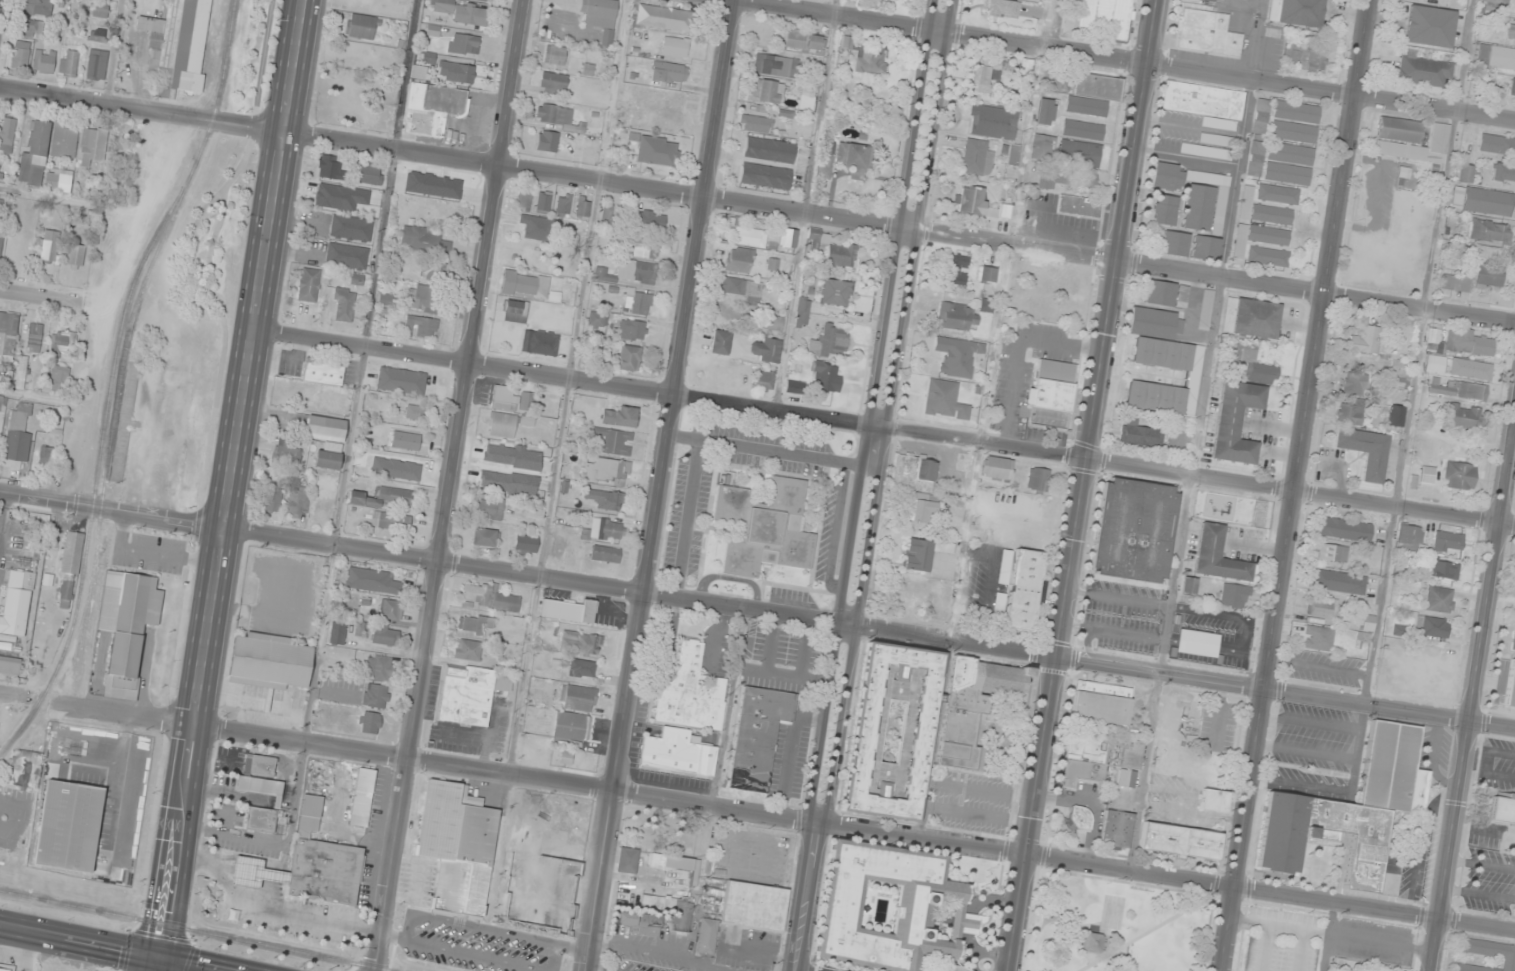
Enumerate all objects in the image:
building: (484, 0)
building: (1212, 0)
building: (1497, 2)
building: (37, 7)
building: (98, 10)
building: (464, 12)
building: (1297, 13)
building: (600, 16)
building: (1107, 17)
building: (663, 18)
building: (360, 26)
building: (1429, 26)
building: (31, 29)
building: (1511, 32)
building: (1206, 33)
building: (98, 35)
building: (802, 40)
building: (847, 43)
building: (463, 44)
building: (177, 47)
building: (675, 47)
building: (20, 54)
building: (555, 55)
building: (427, 57)
building: (1304, 57)
building: (1496, 57)
road: (1118, 60)
building: (43, 61)
building: (870, 61)
building: (68, 62)
building: (96, 64)
building: (775, 66)
building: (1422, 71)
building: (419, 72)
building: (456, 72)
building: (668, 73)
building: (983, 79)
building: (553, 81)
building: (1512, 87)
building: (766, 92)
building: (1094, 94)
building: (1203, 102)
building: (433, 108)
building: (1045, 111)
building: (1296, 112)
building: (556, 116)
building: (992, 122)
building: (754, 123)
building: (1083, 130)
building: (1293, 132)
building: (7, 134)
building: (64, 140)
building: (1215, 140)
building: (1410, 140)
building: (548, 141)
building: (1043, 142)
building: (1497, 144)
building: (1272, 145)
building: (92, 146)
building: (768, 149)
building: (656, 150)
building: (35, 153)
building: (1079, 153)
building: (1012, 156)
building: (976, 158)
building: (844, 159)
building: (329, 167)
building: (1504, 172)
building: (1287, 173)
building: (1464, 173)
building: (370, 176)
building: (765, 176)
building: (1167, 177)
building: (1065, 178)
building: (1406, 178)
building: (58, 180)
building: (435, 184)
building: (1277, 194)
building: (325, 198)
building: (525, 200)
building: (1483, 201)
building: (543, 202)
building: (564, 204)
road: (757, 204)
building: (1079, 206)
building: (583, 207)
building: (1198, 207)
building: (982, 208)
building: (1164, 210)
building: (1262, 210)
building: (607, 213)
road: (912, 213)
building: (650, 220)
building: (351, 228)
road: (1118, 230)
building: (1489, 232)
building: (746, 234)
building: (788, 238)
building: (1257, 238)
building: (422, 239)
building: (813, 239)
building: (1, 242)
building: (1174, 244)
building: (49, 245)
building: (1205, 248)
building: (646, 249)
building: (76, 256)
building: (347, 256)
building: (842, 256)
building: (1267, 257)
building: (738, 260)
building: (434, 269)
building: (956, 270)
building: (636, 271)
building: (602, 274)
building: (987, 274)
building: (1471, 278)
building: (525, 284)
building: (308, 285)
railway: (132, 287)
building: (742, 288)
building: (835, 293)
building: (1160, 293)
building: (1182, 296)
building: (422, 297)
road: (48, 300)
building: (638, 304)
building: (343, 305)
building: (1205, 309)
building: (515, 311)
building: (802, 312)
building: (966, 317)
building: (1251, 318)
building: (596, 320)
building: (775, 323)
building: (421, 326)
building: (634, 330)
building: (8, 332)
building: (1364, 336)
building: (33, 337)
building: (1433, 339)
building: (720, 342)
building: (829, 342)
building: (63, 343)
building: (542, 343)
building: (1471, 344)
building: (765, 350)
building: (957, 356)
building: (629, 359)
building: (1435, 363)
building: (1163, 364)
building: (1258, 367)
building: (1400, 368)
building: (1468, 369)
building: (21, 372)
building: (323, 372)
building: (722, 373)
building: (826, 376)
building: (59, 377)
road: (565, 378)
building: (401, 380)
building: (764, 380)
building: (1355, 384)
building: (1456, 388)
building: (1051, 395)
building: (512, 399)
building: (944, 400)
building: (331, 402)
building: (1, 403)
building: (1350, 414)
building: (1395, 416)
building: (1465, 416)
building: (621, 417)
building: (1235, 422)
railway: (113, 425)
building: (501, 425)
building: (325, 428)
building: (18, 435)
building: (1143, 436)
building: (405, 440)
building: (614, 441)
road: (981, 443)
building: (1365, 451)
building: (47, 455)
building: (327, 455)
building: (286, 456)
building: (493, 466)
building: (997, 468)
building: (607, 471)
building: (913, 473)
building: (1459, 476)
road: (231, 480)
building: (1038, 480)
road: (451, 485)
road: (661, 485)
road: (1296, 485)
building: (527, 489)
road: (1298, 493)
building: (382, 497)
building: (273, 499)
building: (606, 499)
building: (296, 503)
building: (490, 509)
building: (321, 512)
building: (921, 512)
building: (391, 522)
building: (764, 527)
building: (1345, 529)
building: (610, 530)
building: (1134, 530)
building: (485, 537)
building: (1410, 537)
building: (1448, 542)
building: (525, 544)
building: (923, 553)
building: (1332, 553)
building: (605, 554)
building: (1217, 556)
building: (1442, 569)
building: (68, 570)
building: (371, 581)
building: (1338, 581)
parking lot: (17, 583)
building: (1189, 585)
building: (1023, 590)
building: (1234, 596)
building: (488, 597)
building: (1439, 599)
building: (15, 603)
building: (391, 609)
road: (757, 609)
building: (1322, 609)
building: (569, 611)
building: (474, 623)
building: (127, 626)
building: (1432, 626)
building: (337, 633)
building: (386, 635)
building: (1318, 638)
building: (1198, 642)
building: (1513, 642)
building: (580, 643)
building: (467, 649)
building: (269, 660)
building: (9, 665)
building: (379, 668)
building: (582, 668)
railway: (48, 676)
building: (1510, 686)
building: (691, 692)
building: (469, 693)
building: (376, 696)
road: (13, 698)
building: (578, 698)
road: (838, 699)
road: (1474, 700)
building: (1101, 703)
building: (973, 705)
road: (1043, 715)
building: (1181, 716)
building: (371, 723)
road: (1310, 723)
building: (571, 726)
building: (891, 732)
building: (758, 736)
road: (1306, 751)
building: (677, 753)
building: (1108, 764)
building: (259, 765)
building: (24, 768)
railway: (48, 781)
building: (258, 785)
road: (1346, 790)
building: (362, 797)
building: (1213, 801)
building: (1349, 809)
building: (1081, 818)
building: (260, 819)
road: (785, 819)
building: (68, 825)
building: (1118, 828)
park: (658, 832)
building: (1181, 841)
building: (457, 847)
building: (628, 860)
building: (309, 864)
building: (540, 893)
building: (929, 900)
building: (754, 906)
building: (681, 917)
building: (640, 920)
park: (1114, 924)
railway: (195, 931)
road: (1334, 934)
building: (707, 937)
road: (1327, 937)
parking lot: (1318, 940)
building: (1090, 943)
road: (81, 944)
road: (1264, 948)
road: (1300, 951)
building: (1487, 954)
traffic signals: (162, 962)
road: (159, 966)
road: (161, 966)
road: (186, 966)
building: (5, 967)

